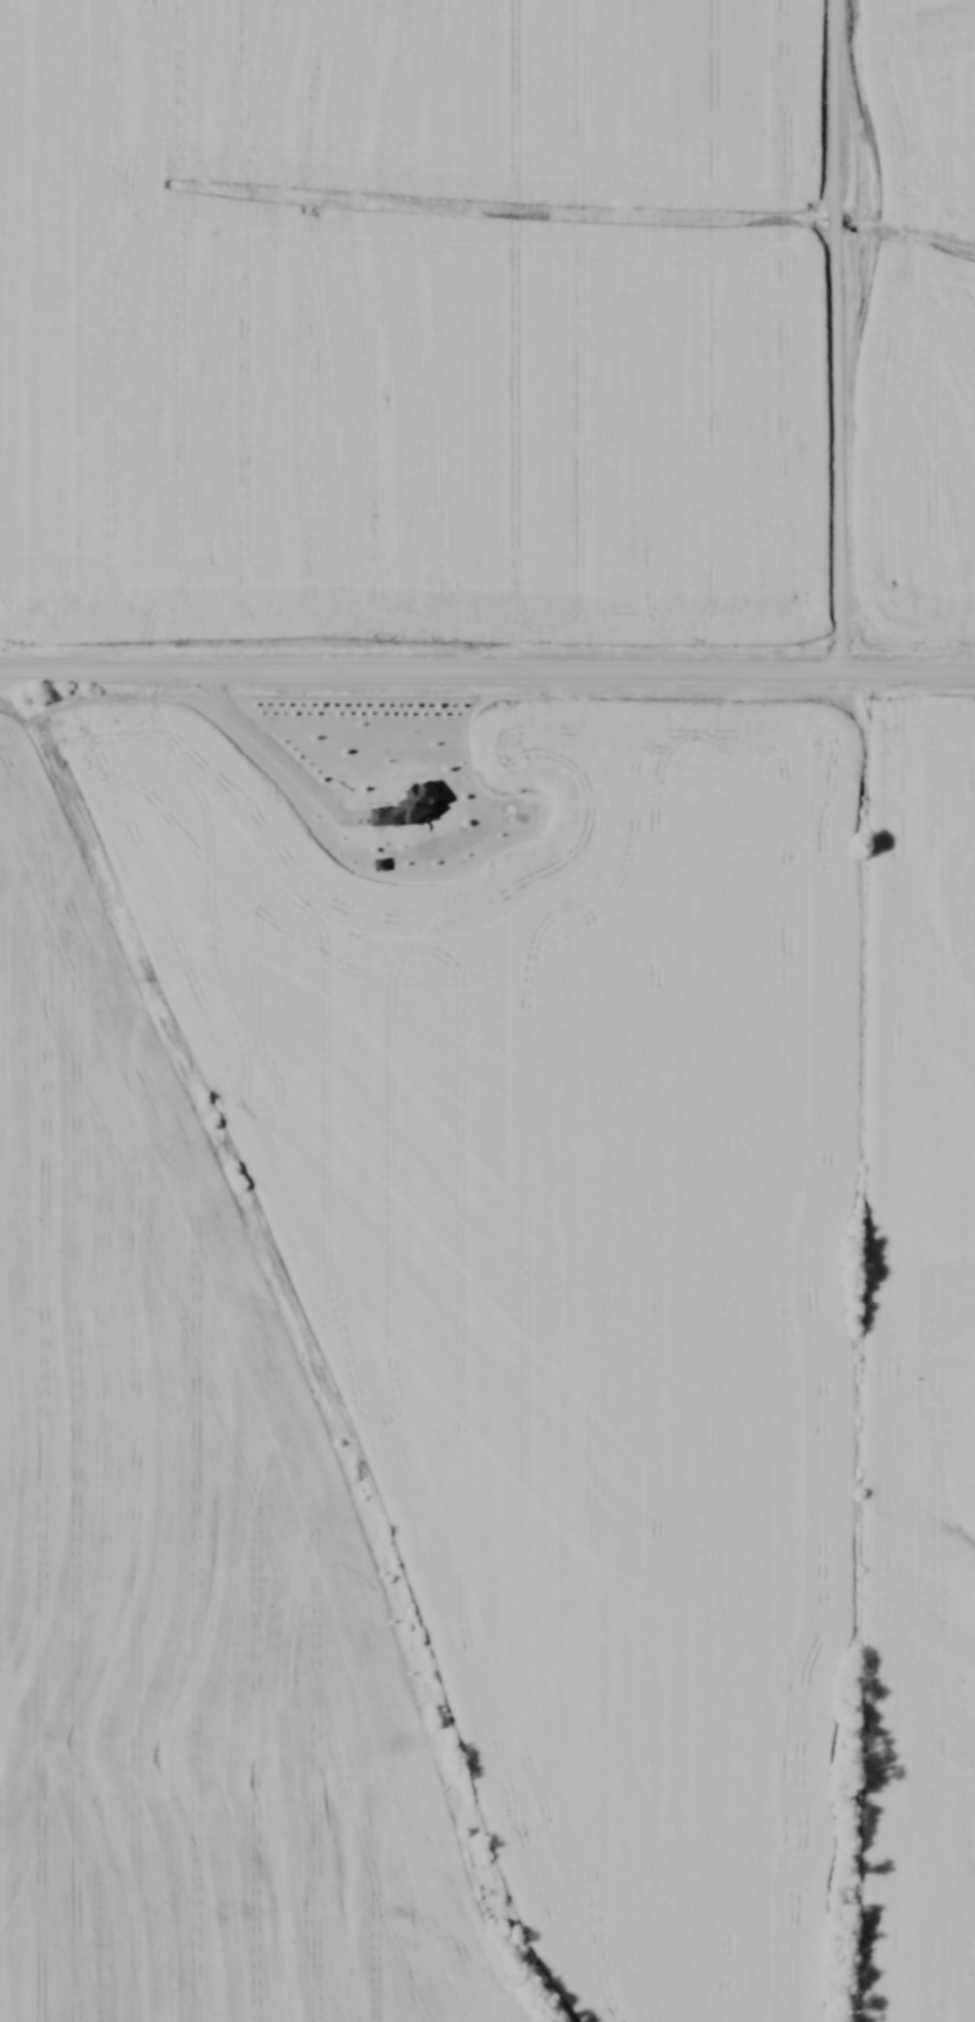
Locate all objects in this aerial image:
road: (839, 338)
road: (487, 673)
road: (275, 754)
building: (404, 808)

